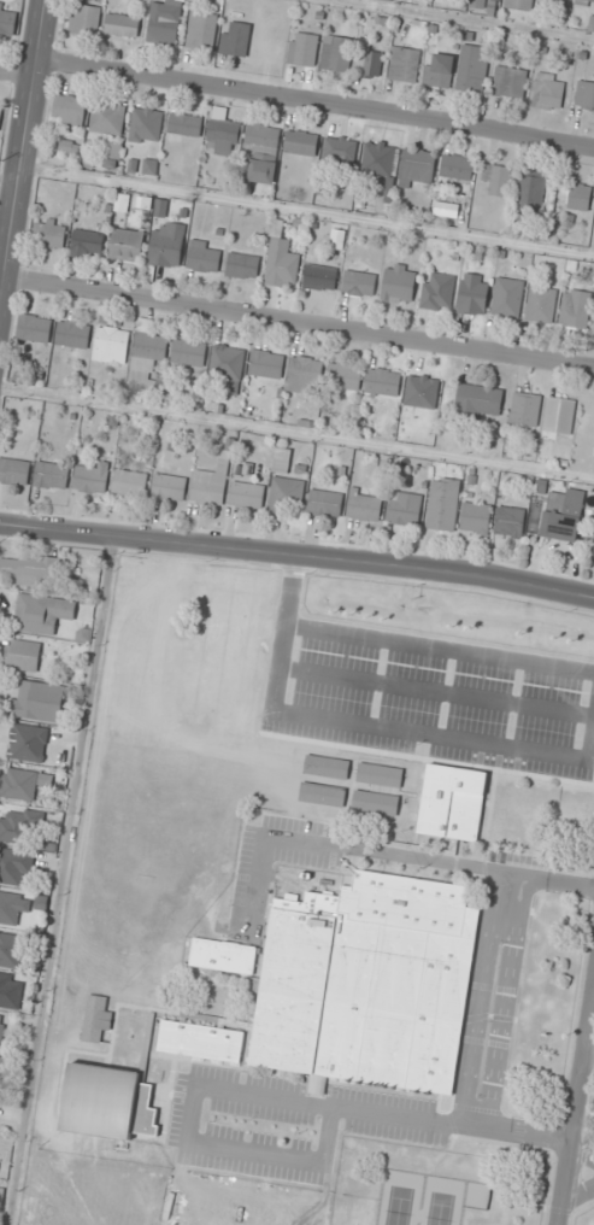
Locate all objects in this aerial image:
building: (583, 2)
building: (519, 4)
building: (84, 18)
road: (466, 19)
building: (7, 20)
building: (164, 22)
building: (122, 24)
building: (201, 30)
building: (235, 39)
building: (302, 48)
building: (336, 53)
building: (367, 60)
building: (404, 64)
building: (472, 68)
building: (437, 70)
road: (17, 72)
building: (508, 82)
building: (548, 90)
building: (584, 94)
road: (316, 104)
building: (69, 109)
building: (0, 116)
building: (107, 118)
building: (184, 123)
building: (146, 124)
building: (224, 134)
road: (23, 141)
building: (301, 142)
building: (340, 150)
building: (263, 151)
building: (113, 154)
building: (378, 158)
building: (417, 165)
building: (457, 166)
building: (496, 177)
road: (8, 178)
building: (531, 191)
building: (576, 195)
road: (306, 211)
building: (49, 234)
building: (87, 244)
building: (127, 245)
building: (166, 245)
building: (202, 257)
building: (281, 259)
building: (242, 265)
building: (319, 277)
building: (359, 283)
building: (399, 283)
building: (437, 292)
building: (474, 293)
building: (507, 297)
building: (541, 304)
building: (574, 310)
road: (298, 322)
building: (34, 328)
building: (72, 333)
building: (111, 344)
building: (189, 351)
building: (147, 353)
building: (228, 364)
building: (266, 364)
building: (304, 375)
building: (345, 376)
building: (383, 382)
building: (422, 392)
building: (478, 400)
building: (525, 409)
building: (559, 416)
road: (296, 430)
building: (281, 459)
building: (13, 470)
building: (51, 475)
building: (90, 477)
building: (129, 482)
building: (210, 483)
building: (169, 487)
building: (246, 494)
building: (286, 494)
building: (325, 502)
building: (443, 504)
building: (364, 505)
building: (404, 508)
building: (563, 514)
building: (476, 518)
building: (508, 521)
building: (593, 550)
road: (298, 556)
building: (28, 568)
building: (39, 615)
building: (22, 655)
building: (39, 702)
building: (27, 743)
building: (328, 773)
building: (380, 779)
building: (23, 783)
building: (320, 801)
building: (452, 802)
building: (375, 809)
building: (19, 825)
road: (383, 854)
building: (14, 864)
road: (59, 881)
building: (13, 905)
building: (8, 950)
building: (223, 956)
building: (369, 983)
building: (11, 991)
road: (483, 998)
road: (507, 1002)
building: (1, 1028)
building: (201, 1041)
road: (587, 1051)
building: (1, 1067)
road: (263, 1095)
road: (574, 1097)
building: (107, 1103)
road: (576, 1192)
building: (1, 1202)

